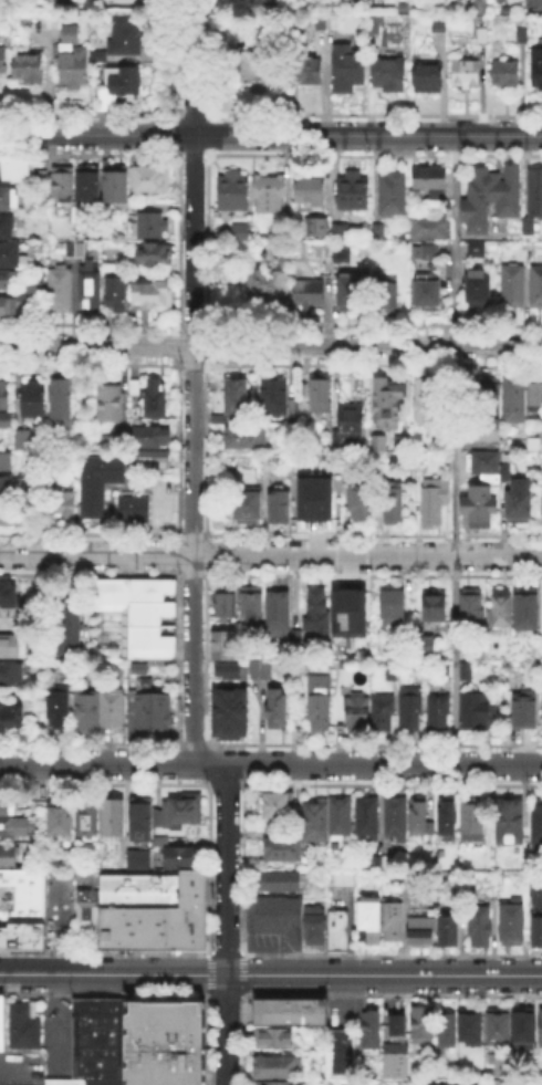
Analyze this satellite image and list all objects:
building: (536, 3)
building: (481, 6)
building: (326, 23)
building: (439, 25)
building: (375, 27)
building: (72, 36)
building: (486, 36)
building: (127, 38)
building: (523, 38)
building: (102, 58)
building: (3, 62)
building: (256, 67)
building: (31, 70)
building: (75, 70)
building: (348, 70)
building: (308, 71)
building: (538, 71)
building: (467, 75)
building: (505, 75)
building: (387, 77)
building: (428, 77)
building: (118, 88)
road: (271, 135)
building: (13, 170)
building: (41, 177)
building: (150, 180)
building: (117, 184)
building: (432, 184)
building: (61, 186)
building: (90, 186)
building: (354, 191)
building: (234, 192)
building: (309, 192)
building: (269, 195)
building: (393, 196)
building: (492, 198)
building: (10, 199)
building: (534, 200)
building: (8, 227)
building: (153, 227)
building: (430, 228)
building: (319, 229)
building: (238, 231)
building: (342, 233)
building: (379, 233)
building: (74, 250)
building: (338, 250)
building: (476, 251)
building: (10, 253)
building: (155, 255)
building: (430, 257)
building: (6, 282)
building: (38, 283)
building: (270, 285)
building: (514, 288)
building: (536, 289)
building: (346, 290)
building: (91, 291)
building: (479, 291)
building: (61, 292)
building: (428, 293)
building: (117, 295)
building: (311, 296)
building: (385, 298)
building: (155, 299)
building: (27, 302)
building: (8, 310)
road: (270, 344)
road: (192, 380)
building: (136, 389)
building: (484, 395)
building: (273, 396)
building: (322, 396)
building: (34, 397)
building: (236, 397)
building: (536, 397)
building: (156, 400)
building: (514, 400)
building: (427, 403)
building: (6, 404)
building: (112, 404)
building: (63, 405)
building: (389, 405)
building: (294, 407)
building: (351, 420)
building: (482, 431)
building: (152, 438)
building: (246, 438)
building: (114, 439)
building: (23, 441)
building: (404, 445)
building: (379, 446)
road: (454, 449)
building: (7, 462)
building: (153, 462)
building: (487, 465)
building: (95, 480)
building: (7, 489)
building: (361, 501)
building: (304, 502)
building: (393, 502)
building: (60, 503)
building: (520, 503)
building: (435, 504)
building: (480, 505)
building: (541, 505)
building: (131, 507)
building: (247, 507)
building: (279, 509)
building: (8, 515)
road: (270, 553)
building: (8, 592)
building: (227, 603)
building: (353, 607)
building: (435, 608)
building: (252, 611)
building: (394, 611)
building: (501, 611)
building: (472, 612)
building: (527, 612)
building: (280, 613)
building: (319, 614)
building: (11, 617)
building: (134, 620)
building: (66, 628)
building: (420, 637)
building: (222, 645)
building: (298, 645)
building: (13, 648)
building: (343, 653)
building: (261, 670)
building: (230, 672)
building: (392, 674)
building: (12, 676)
building: (319, 703)
building: (60, 709)
building: (541, 709)
building: (90, 710)
building: (113, 711)
building: (278, 711)
building: (409, 711)
building: (524, 711)
building: (150, 712)
building: (357, 712)
building: (383, 713)
building: (438, 713)
building: (478, 714)
building: (232, 716)
building: (11, 719)
road: (270, 763)
road: (246, 770)
road: (209, 772)
building: (12, 806)
building: (278, 806)
building: (183, 812)
building: (419, 816)
building: (143, 817)
building: (368, 817)
building: (61, 818)
building: (88, 820)
building: (115, 820)
building: (396, 820)
building: (448, 820)
building: (329, 821)
building: (472, 823)
building: (511, 824)
building: (536, 825)
building: (13, 828)
building: (284, 849)
building: (9, 855)
building: (181, 857)
building: (135, 862)
building: (383, 863)
road: (243, 866)
road: (208, 868)
building: (340, 878)
building: (280, 883)
building: (535, 888)
building: (21, 894)
building: (84, 909)
building: (152, 910)
building: (274, 916)
road: (227, 924)
building: (382, 924)
building: (514, 924)
building: (319, 926)
building: (535, 927)
building: (335, 928)
building: (421, 929)
building: (481, 929)
building: (449, 930)
building: (21, 933)
road: (106, 953)
road: (228, 953)
road: (392, 954)
road: (208, 973)
road: (243, 973)
road: (270, 974)
road: (106, 997)
road: (227, 998)
road: (390, 998)
building: (291, 1013)
building: (1, 1021)
building: (22, 1023)
building: (424, 1025)
building: (399, 1026)
building: (539, 1026)
building: (499, 1027)
building: (472, 1029)
building: (447, 1030)
building: (372, 1031)
building: (524, 1032)
road: (209, 1039)
road: (242, 1039)
building: (273, 1039)
building: (96, 1040)
building: (165, 1042)
building: (342, 1054)
building: (396, 1063)
building: (279, 1068)
building: (63, 1081)
building: (278, 1082)
building: (512, 1082)
building: (336, 1083)
building: (446, 1084)

